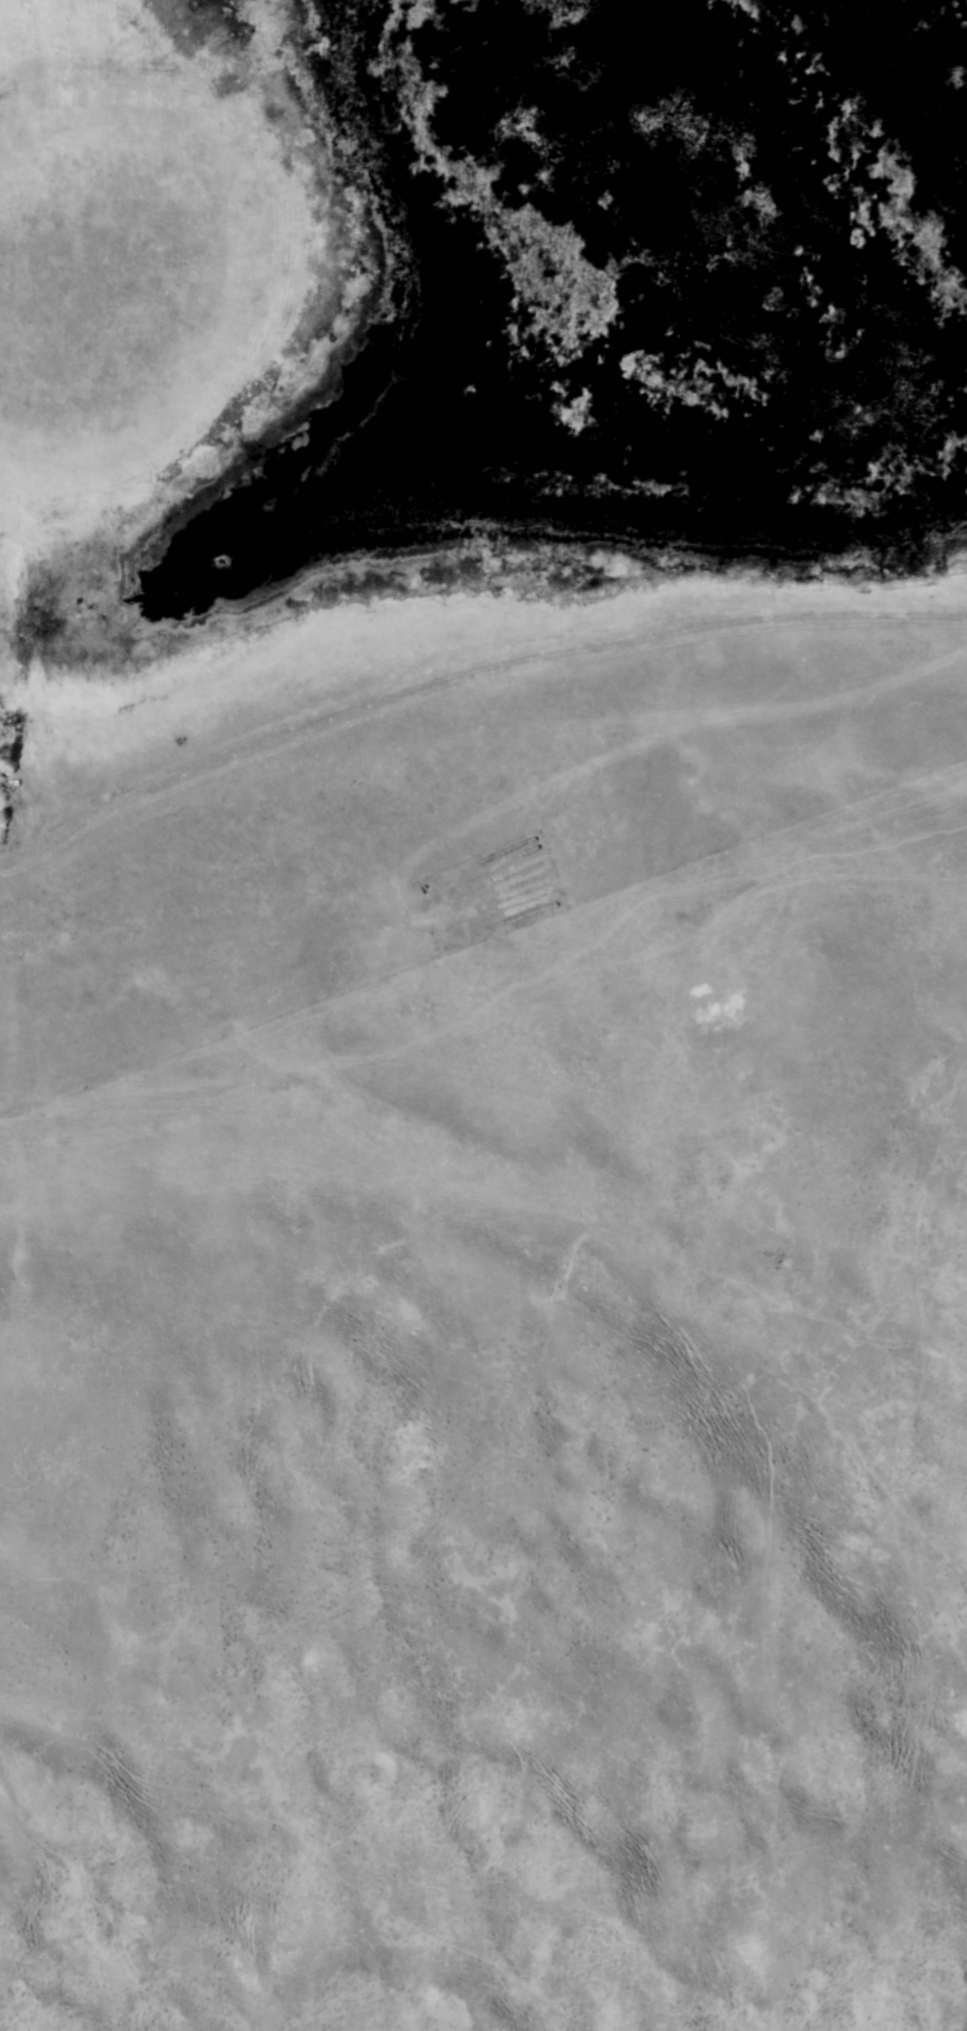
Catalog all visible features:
road: (463, 682)

